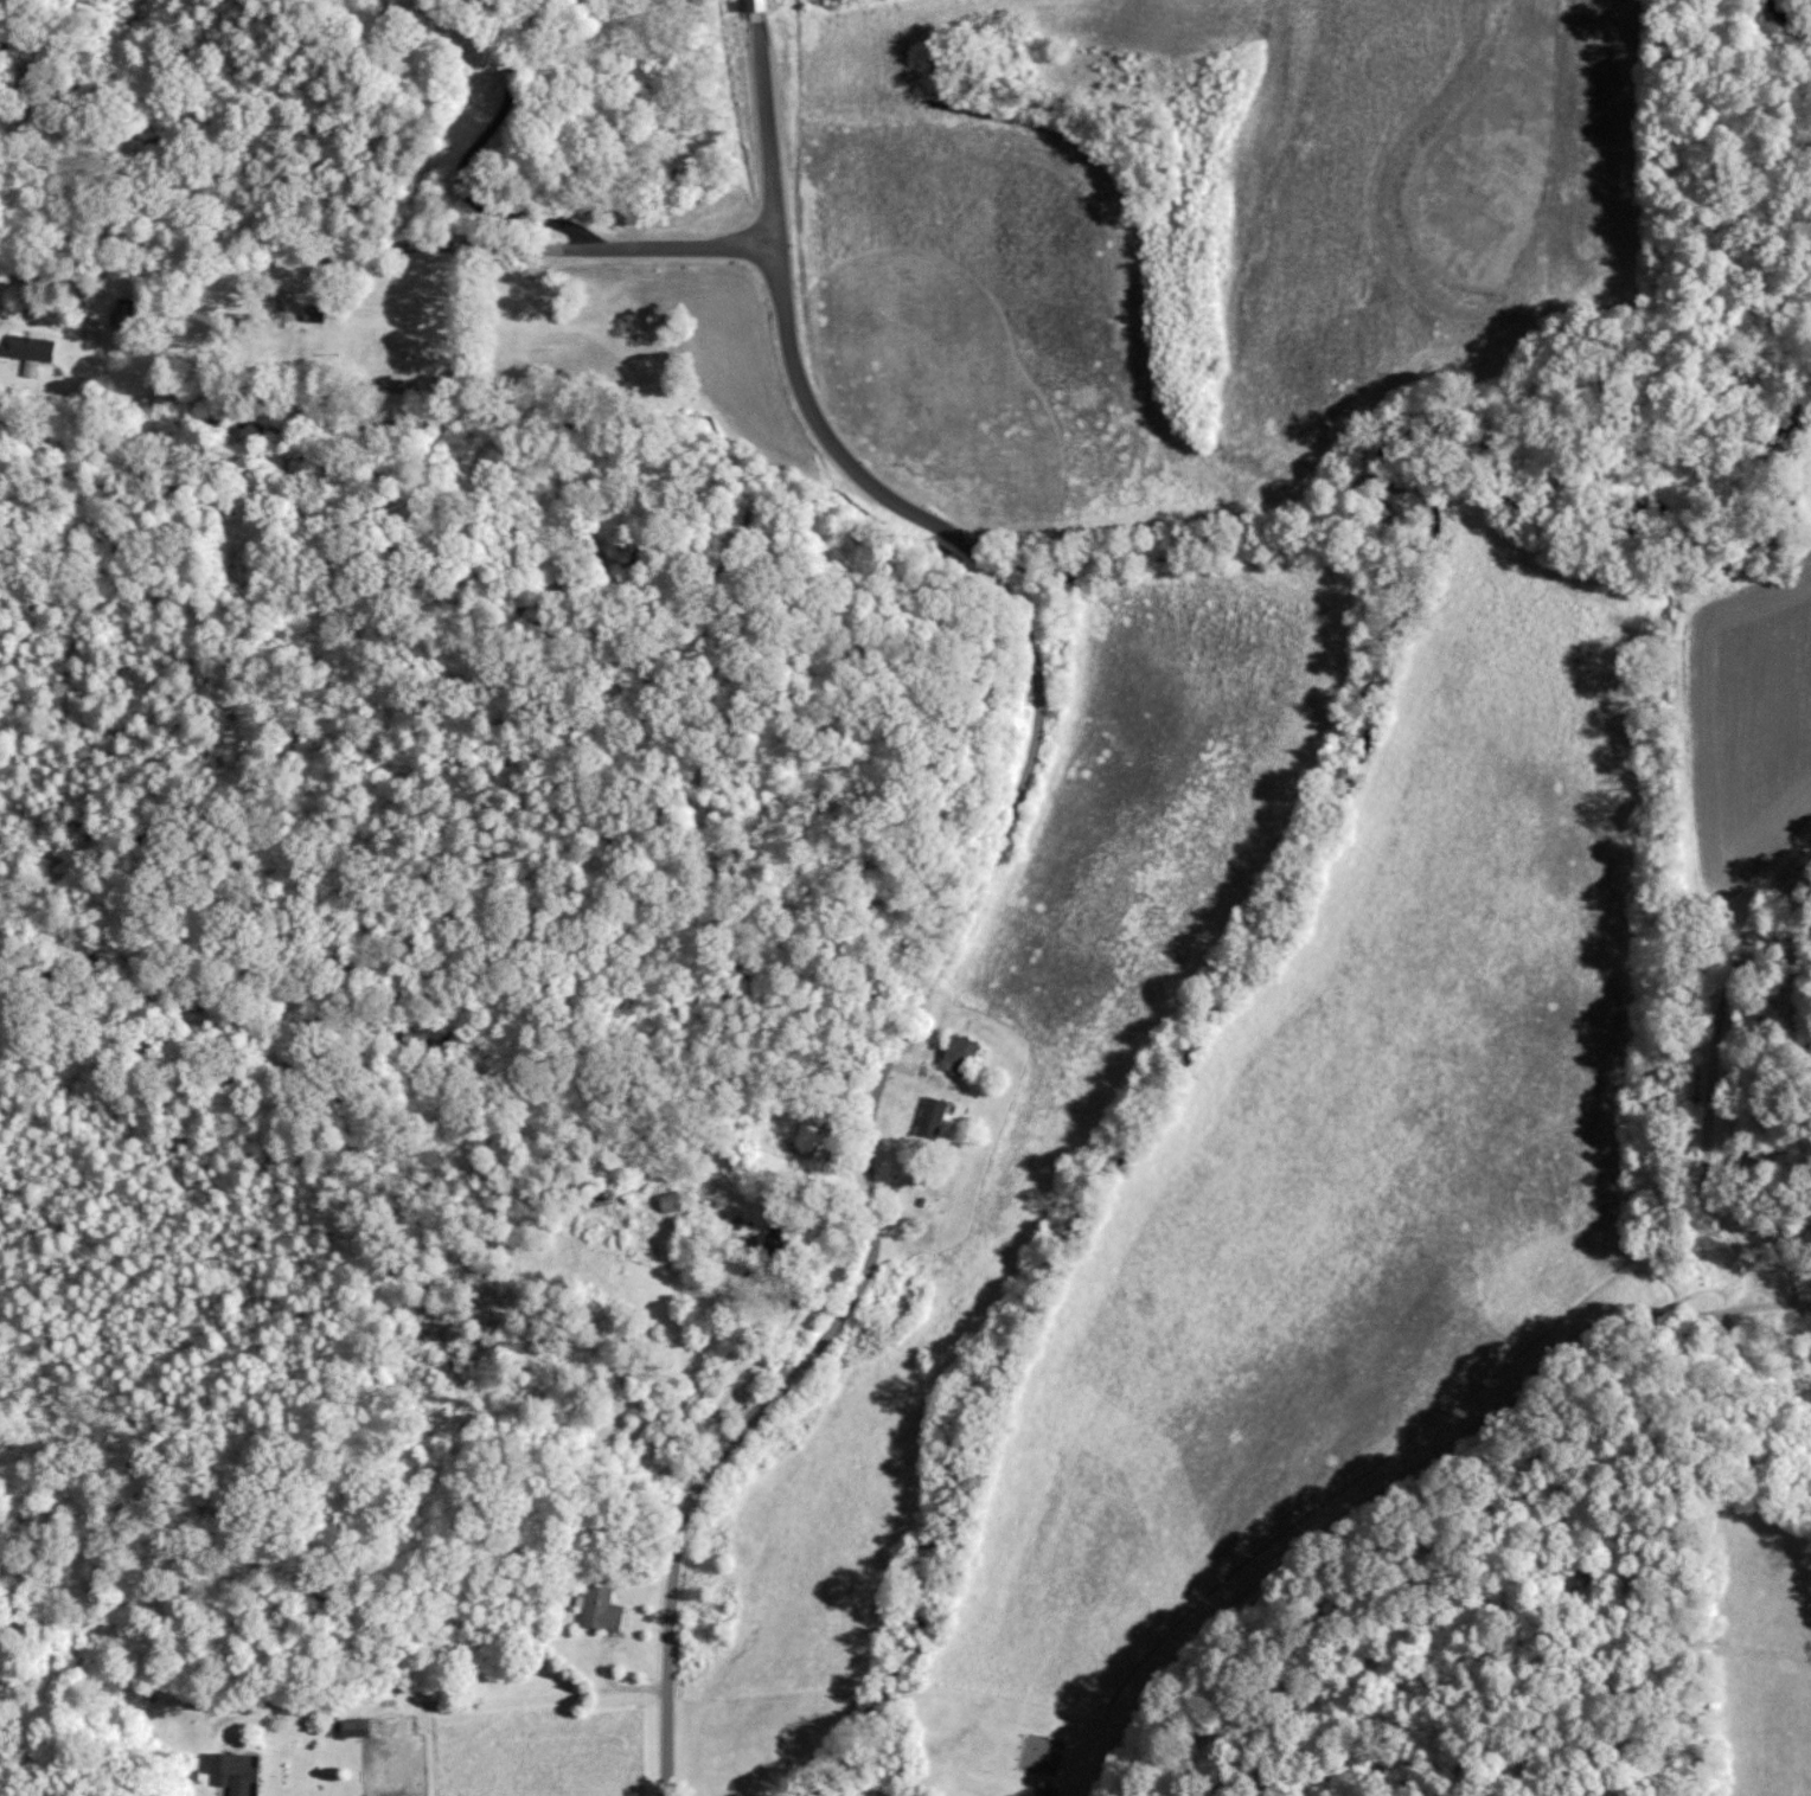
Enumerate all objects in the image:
building: (757, 4)
road: (759, 9)
river: (1802, 14)
road: (767, 133)
road: (466, 159)
road: (386, 248)
building: (314, 312)
road: (460, 313)
building: (30, 351)
road: (921, 995)
building: (960, 1054)
building: (933, 1116)
building: (807, 1136)
road: (1415, 1480)
building: (601, 1609)
building: (354, 1727)
building: (238, 1772)

